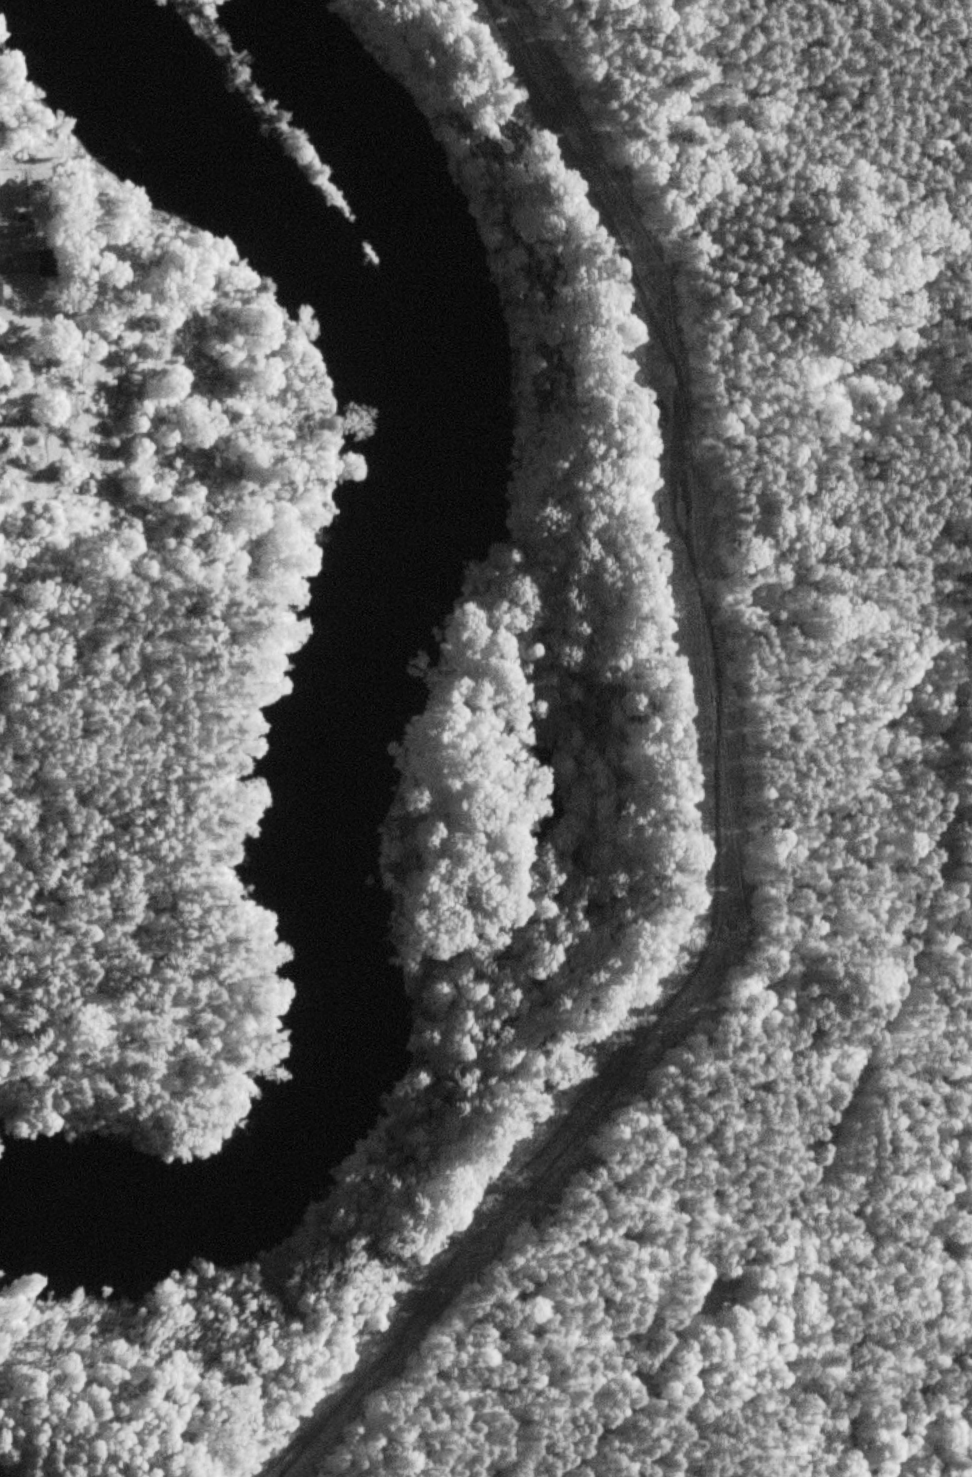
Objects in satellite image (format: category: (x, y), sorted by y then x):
river: (407, 207)
building: (46, 261)
building: (0, 291)
road: (103, 445)
road: (122, 533)
river: (352, 673)
road: (713, 793)

